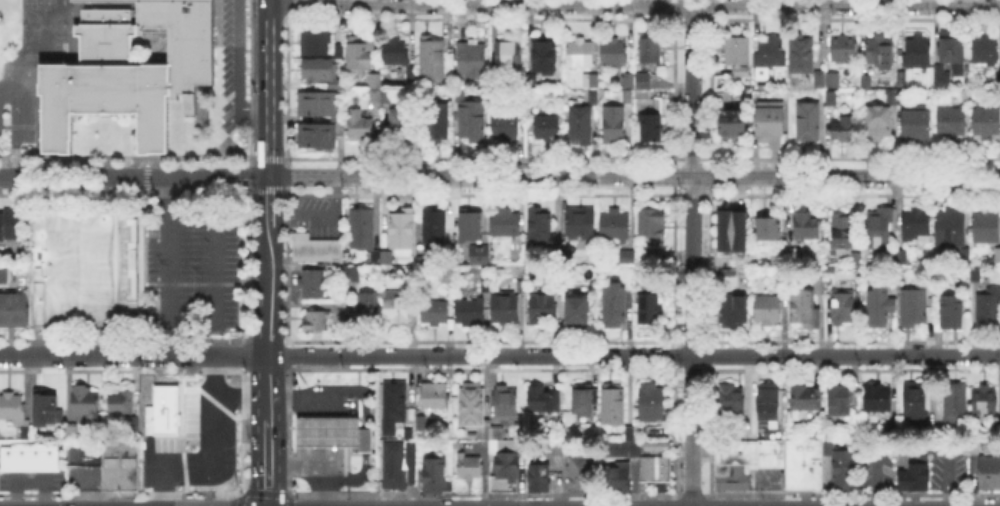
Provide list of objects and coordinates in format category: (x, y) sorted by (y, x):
road: (634, 5)
park: (46, 24)
building: (315, 41)
building: (952, 46)
building: (648, 47)
building: (392, 49)
building: (845, 50)
building: (915, 50)
building: (611, 51)
building: (577, 52)
building: (986, 52)
building: (360, 53)
building: (880, 53)
building: (506, 54)
building: (541, 56)
building: (738, 56)
building: (769, 56)
building: (803, 56)
building: (468, 57)
building: (430, 58)
parking lot: (233, 64)
building: (314, 67)
building: (128, 70)
road: (236, 70)
building: (934, 70)
building: (409, 72)
building: (372, 78)
building: (588, 78)
building: (625, 79)
building: (641, 79)
building: (825, 79)
building: (333, 83)
building: (865, 83)
road: (269, 88)
building: (372, 94)
building: (385, 94)
building: (643, 94)
building: (456, 95)
building: (626, 95)
building: (723, 97)
building: (898, 97)
building: (967, 98)
building: (315, 100)
building: (518, 100)
building: (593, 100)
building: (832, 100)
building: (335, 116)
building: (472, 120)
building: (397, 121)
building: (436, 121)
building: (357, 122)
building: (731, 122)
building: (879, 122)
building: (771, 123)
building: (809, 123)
building: (987, 123)
building: (614, 124)
building: (952, 124)
building: (339, 126)
building: (507, 126)
building: (580, 126)
building: (917, 126)
road: (15, 128)
building: (547, 128)
building: (652, 128)
building: (847, 130)
building: (314, 132)
traffic signals: (269, 177)
road: (500, 177)
road: (269, 200)
road: (318, 215)
parking lot: (315, 217)
building: (649, 220)
building: (9, 221)
building: (578, 221)
building: (502, 222)
building: (467, 224)
building: (536, 224)
building: (611, 224)
building: (917, 225)
building: (987, 225)
building: (400, 226)
building: (431, 226)
building: (808, 226)
building: (952, 227)
building: (363, 229)
building: (732, 230)
building: (769, 230)
building: (880, 231)
building: (843, 232)
building: (312, 249)
road: (270, 251)
building: (656, 254)
road: (692, 255)
building: (800, 255)
building: (962, 256)
building: (776, 257)
building: (902, 257)
building: (998, 257)
building: (377, 258)
building: (627, 258)
building: (858, 261)
road: (218, 263)
road: (168, 266)
building: (83, 268)
parking lot: (195, 270)
building: (729, 270)
building: (976, 273)
building: (5, 274)
building: (353, 274)
building: (309, 280)
building: (412, 284)
building: (481, 284)
building: (520, 287)
building: (821, 287)
road: (270, 304)
building: (502, 306)
building: (616, 306)
building: (646, 306)
building: (844, 306)
building: (880, 306)
building: (368, 307)
building: (914, 308)
building: (431, 309)
building: (544, 309)
building: (575, 309)
building: (989, 309)
building: (398, 310)
building: (768, 310)
building: (13, 311)
building: (467, 311)
building: (735, 311)
building: (805, 311)
building: (953, 313)
building: (313, 318)
road: (499, 354)
road: (269, 372)
road: (280, 375)
road: (240, 396)
building: (435, 397)
building: (544, 398)
building: (807, 399)
building: (729, 400)
building: (878, 400)
building: (85, 401)
building: (584, 401)
building: (770, 401)
building: (985, 401)
building: (123, 402)
building: (652, 402)
building: (956, 402)
building: (614, 403)
building: (840, 403)
building: (916, 403)
building: (507, 404)
building: (391, 406)
building: (13, 408)
building: (50, 411)
building: (164, 412)
building: (477, 412)
building: (418, 421)
building: (129, 422)
road: (325, 422)
building: (423, 425)
building: (326, 430)
gas station: (326, 430)
building: (627, 430)
building: (995, 430)
building: (73, 432)
building: (890, 432)
building: (938, 433)
road: (268, 437)
building: (364, 439)
parking lot: (197, 440)
building: (655, 445)
building: (552, 447)
building: (991, 448)
road: (212, 456)
building: (28, 459)
building: (742, 459)
road: (296, 461)
building: (408, 463)
building: (802, 463)
building: (391, 465)
building: (467, 465)
building: (121, 466)
building: (503, 467)
building: (653, 467)
building: (840, 468)
building: (577, 472)
parking lot: (946, 473)
building: (433, 474)
building: (988, 474)
building: (536, 476)
building: (614, 476)
parking lot: (84, 478)
building: (911, 478)
parking lot: (31, 483)
road: (268, 483)

